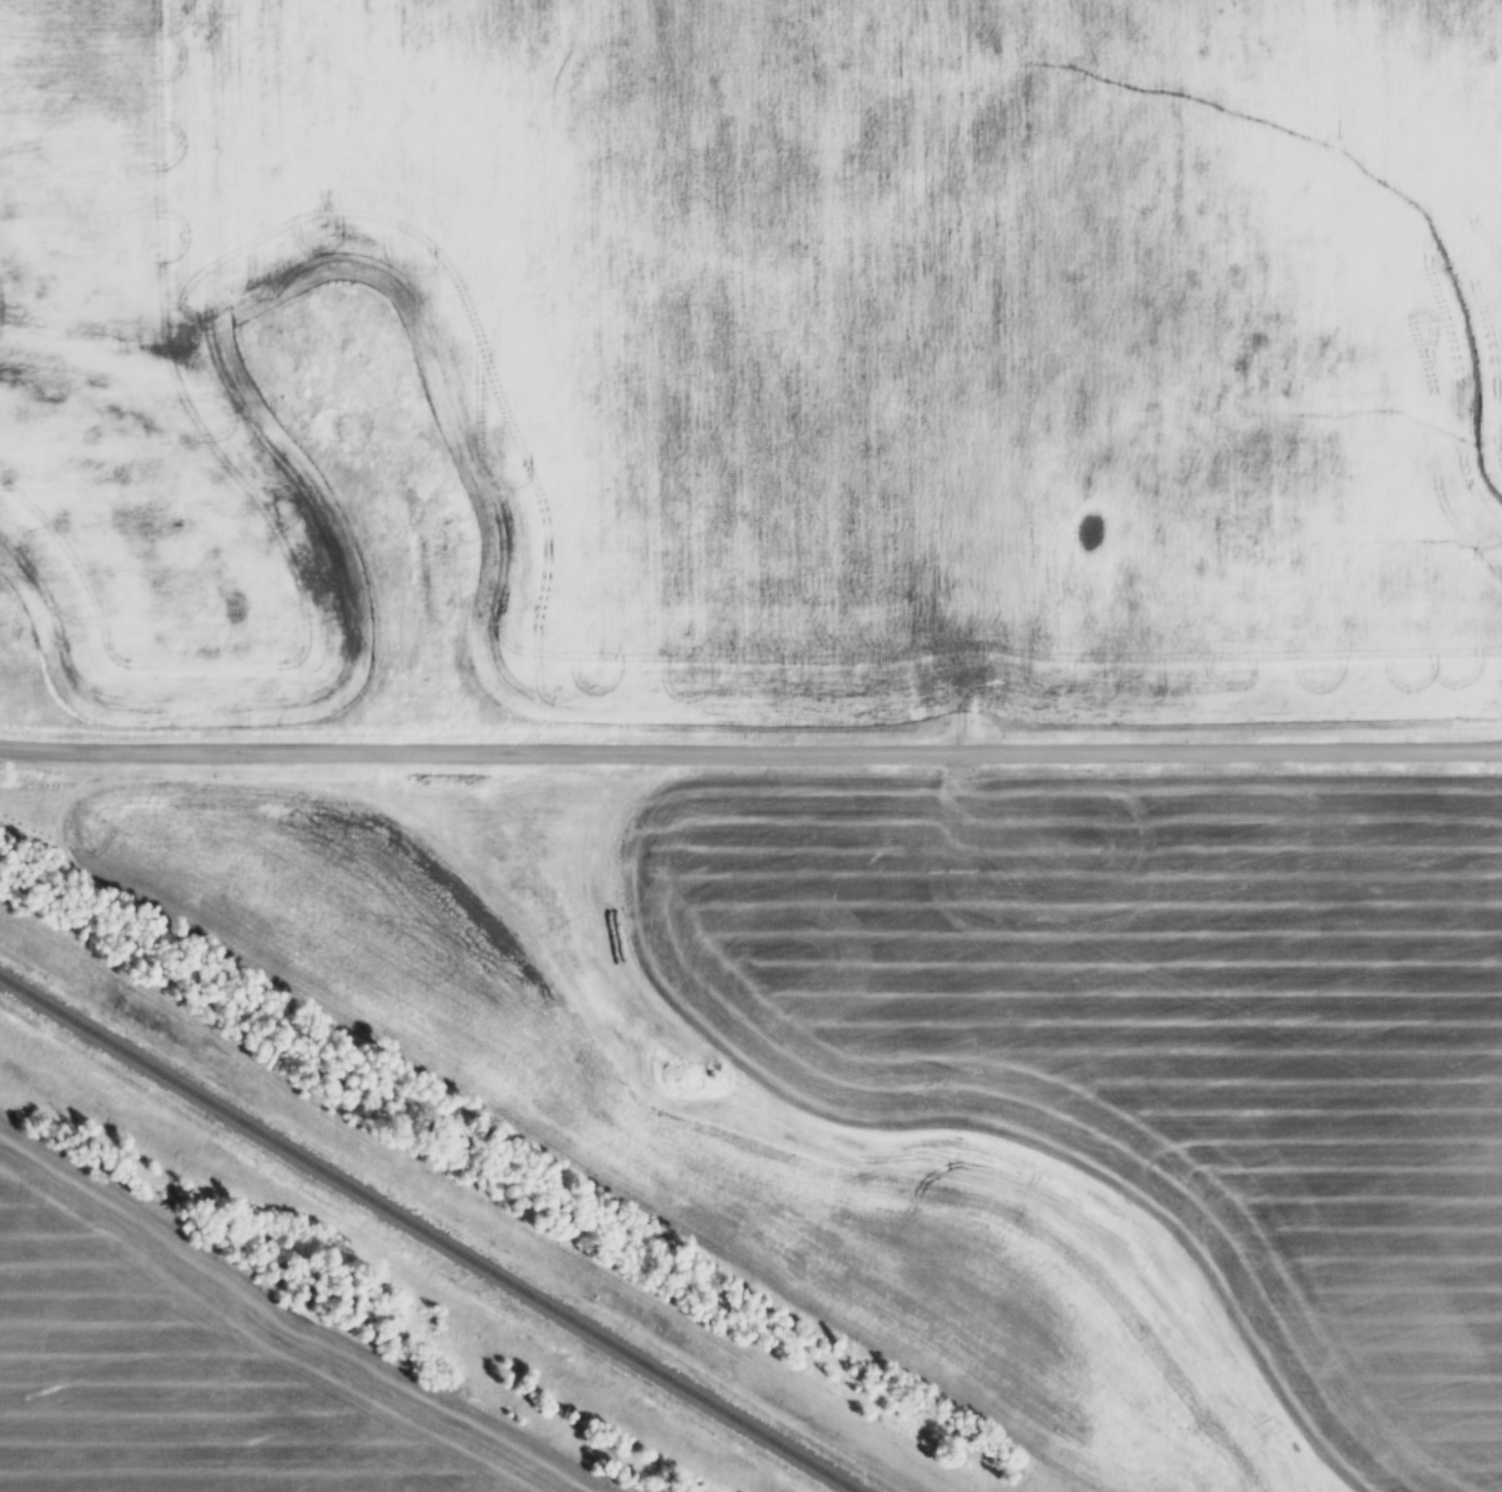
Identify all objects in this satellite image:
road: (750, 748)
railway: (429, 1233)

